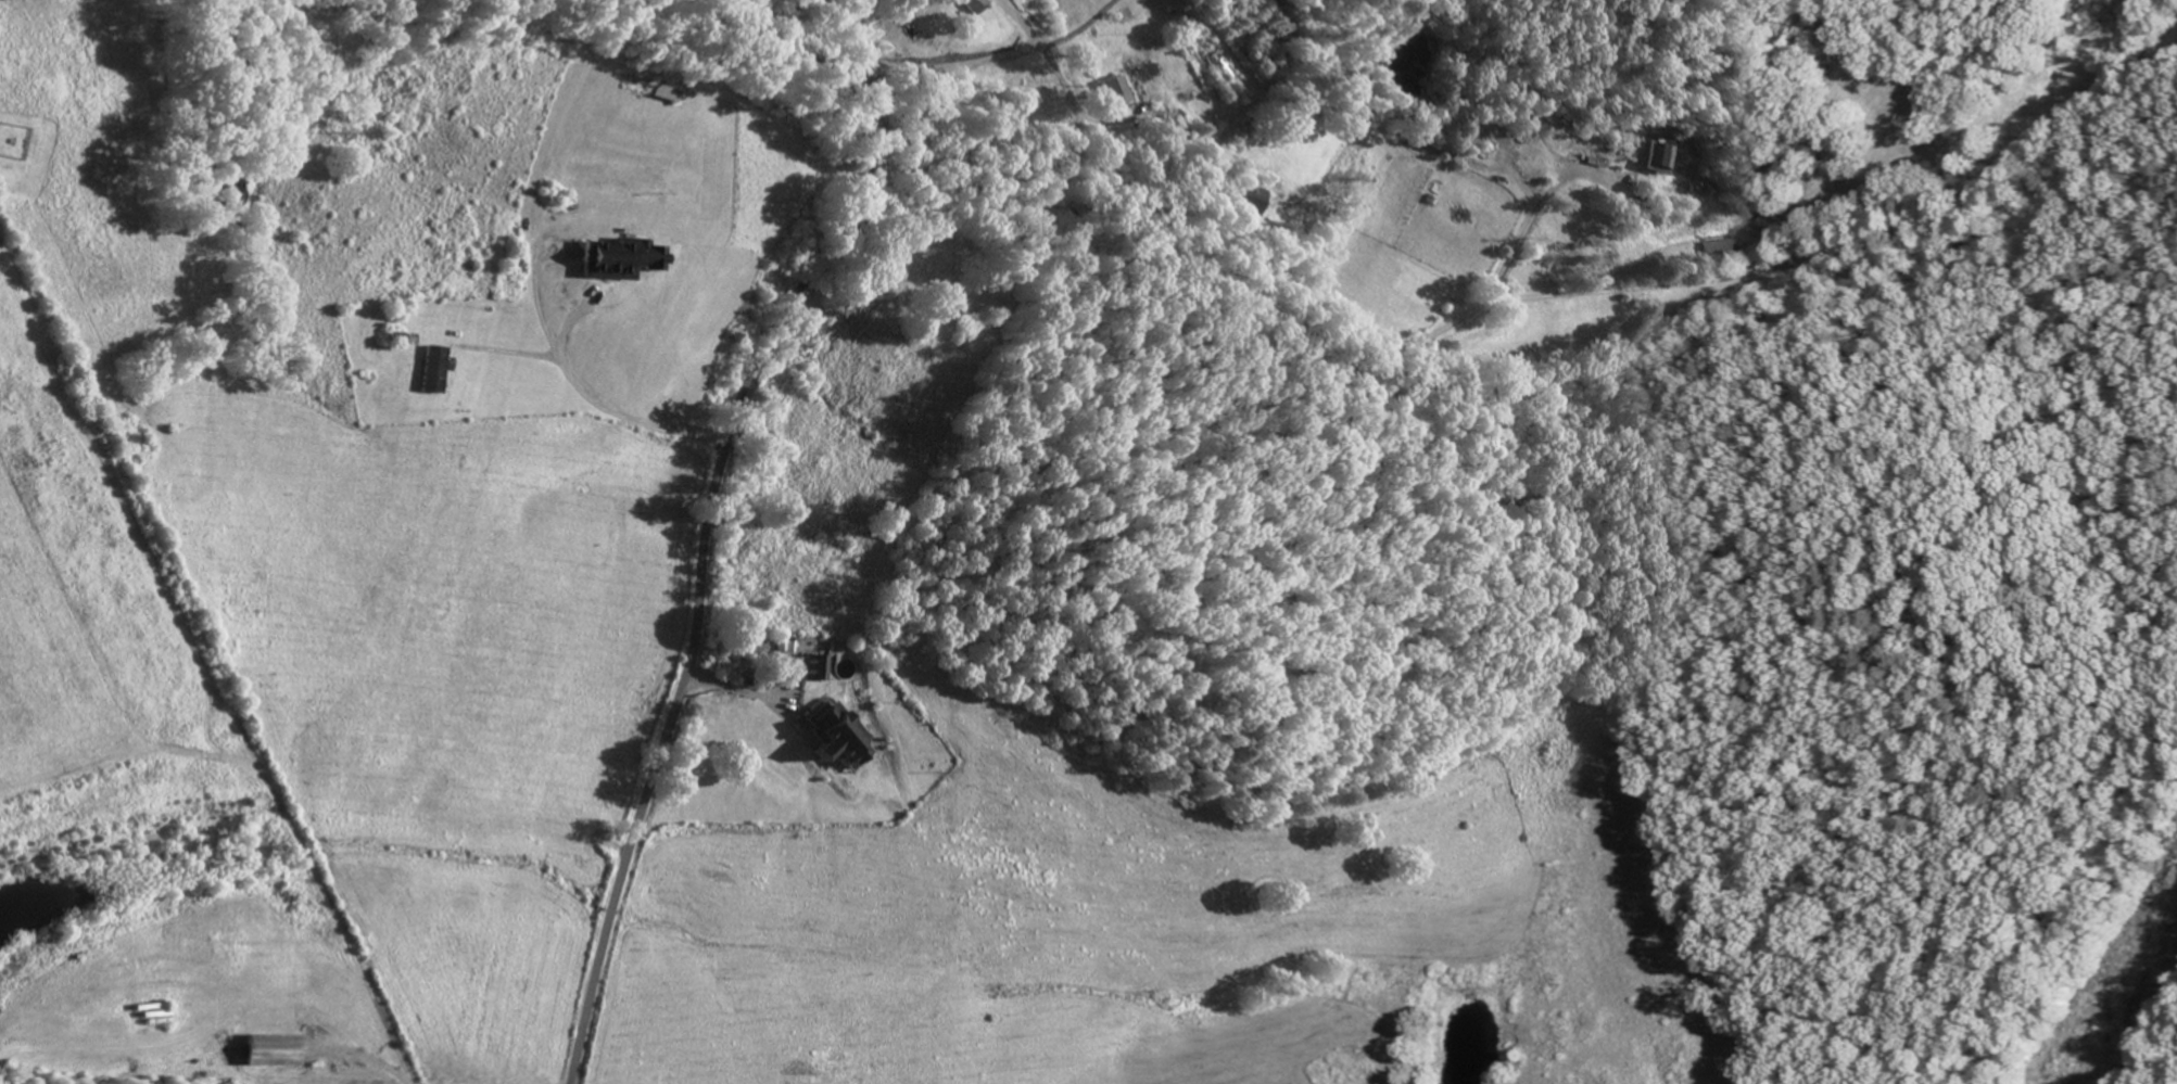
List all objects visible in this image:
building: (977, 7)
road: (993, 62)
building: (1121, 94)
building: (1666, 161)
building: (1254, 203)
building: (622, 262)
building: (439, 372)
road: (711, 522)
road: (1790, 618)
building: (822, 671)
building: (844, 741)
road: (1018, 747)
road: (984, 890)
road: (1755, 955)
road: (815, 1008)
building: (276, 1054)

